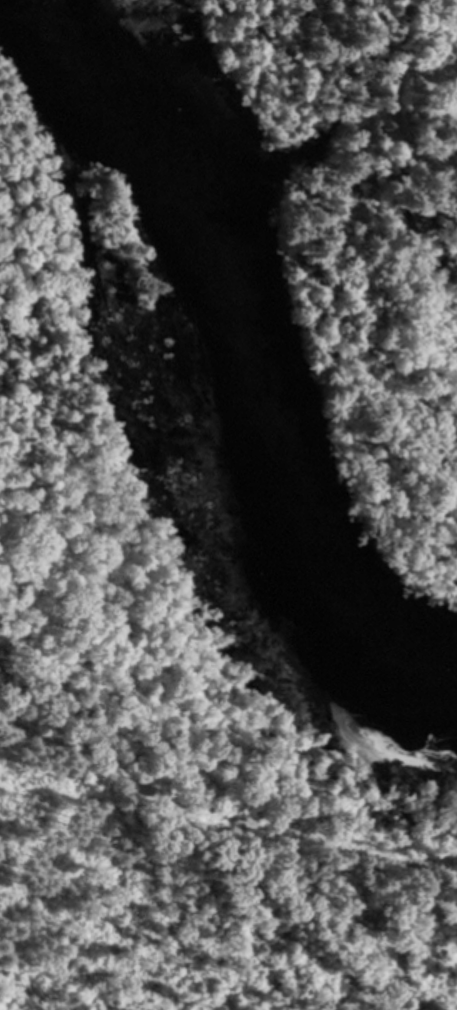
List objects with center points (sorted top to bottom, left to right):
river: (244, 378)

